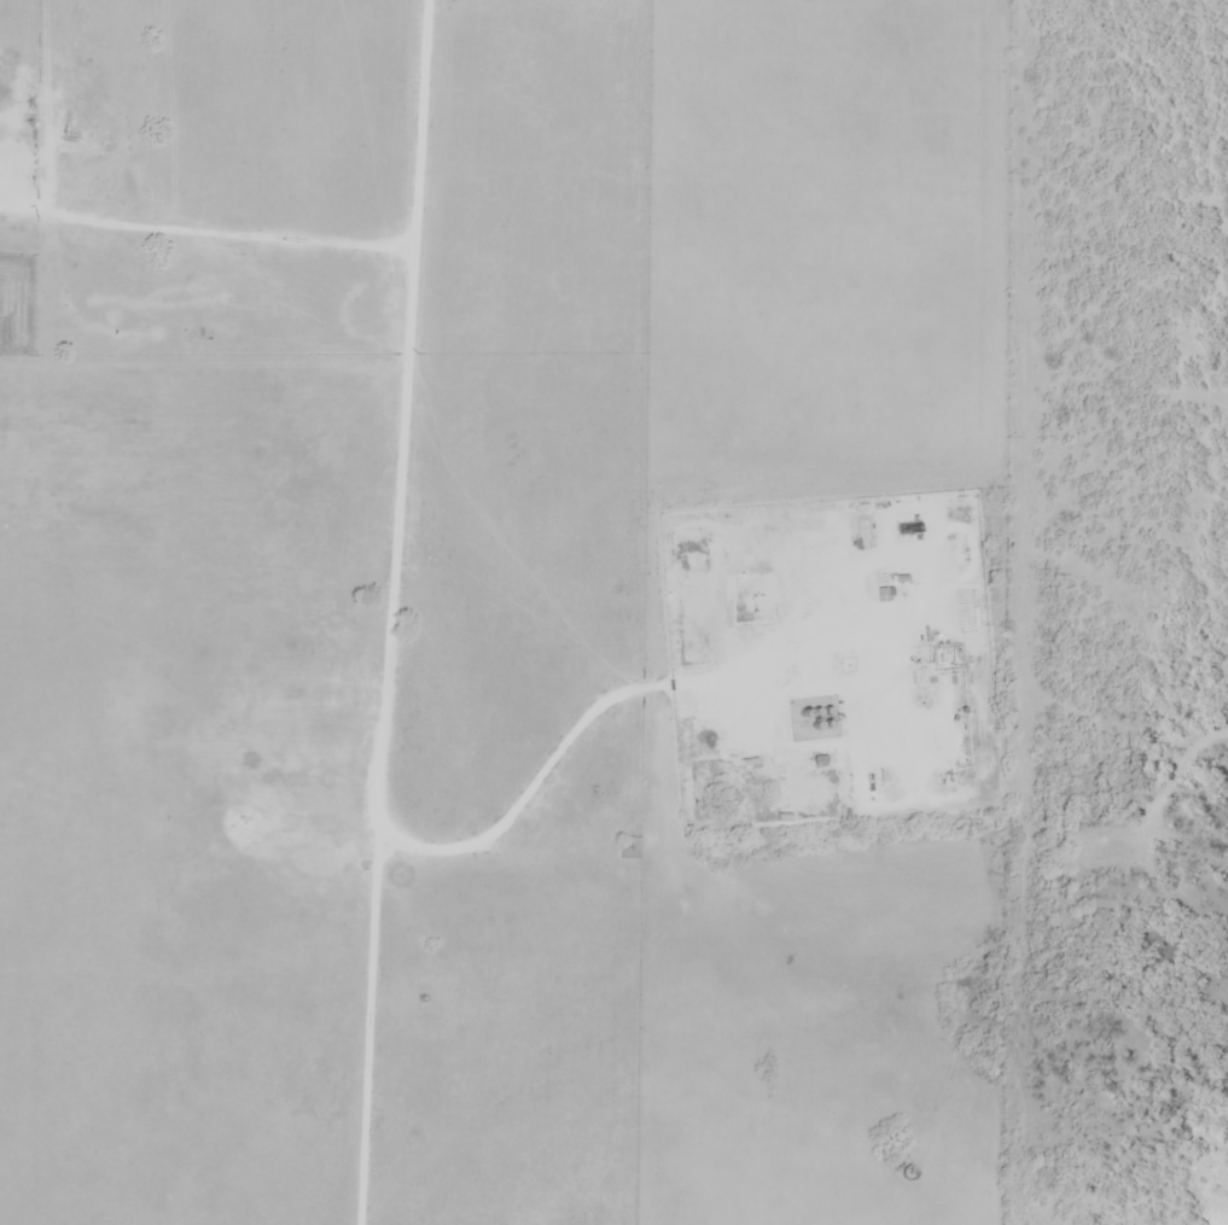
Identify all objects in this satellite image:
building: (863, 524)
road: (384, 614)

